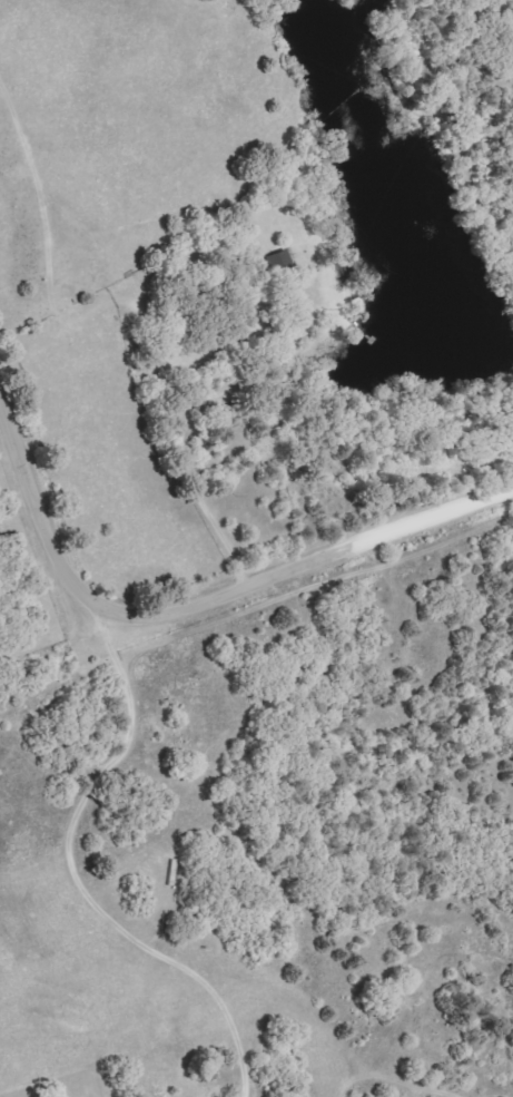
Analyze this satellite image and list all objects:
road: (203, 598)
road: (43, 626)
road: (76, 879)

